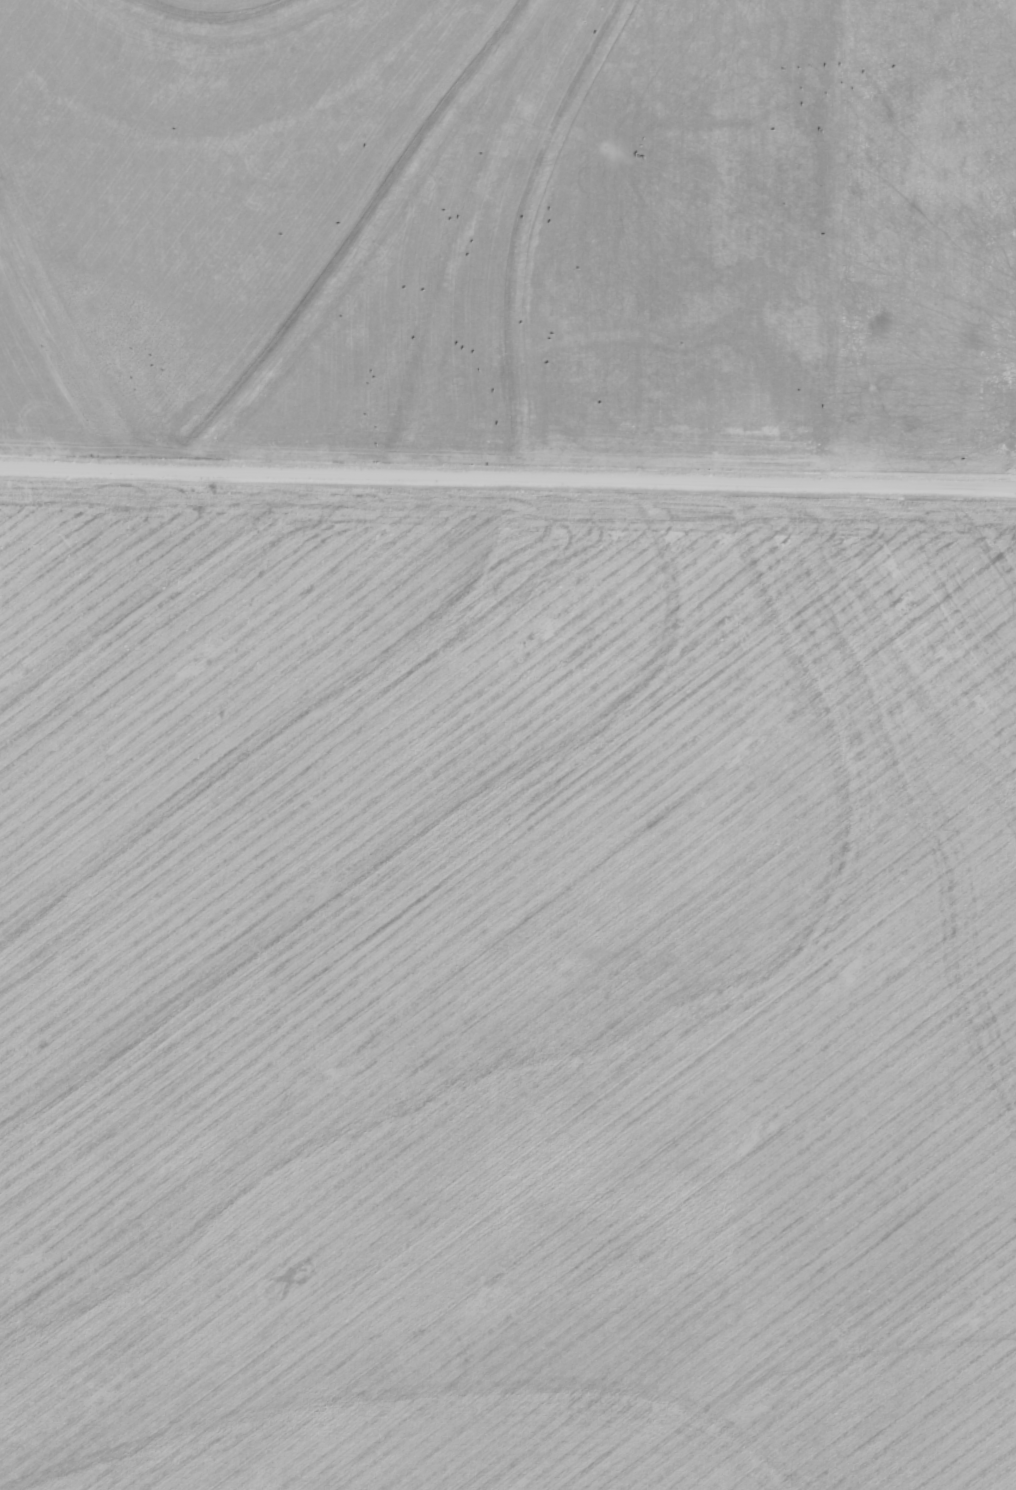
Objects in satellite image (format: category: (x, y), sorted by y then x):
road: (508, 475)

